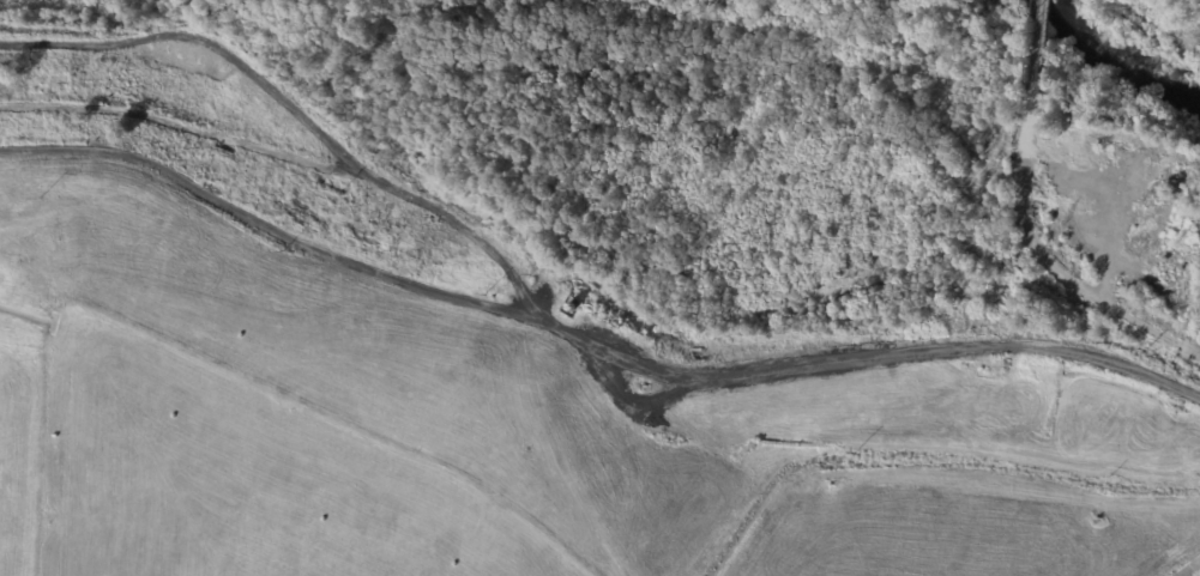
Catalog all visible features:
park: (1151, 26)
road: (1037, 49)
river: (1109, 56)
road: (299, 116)
road: (185, 127)
road: (1050, 265)
road: (523, 320)
landfill: (470, 380)

